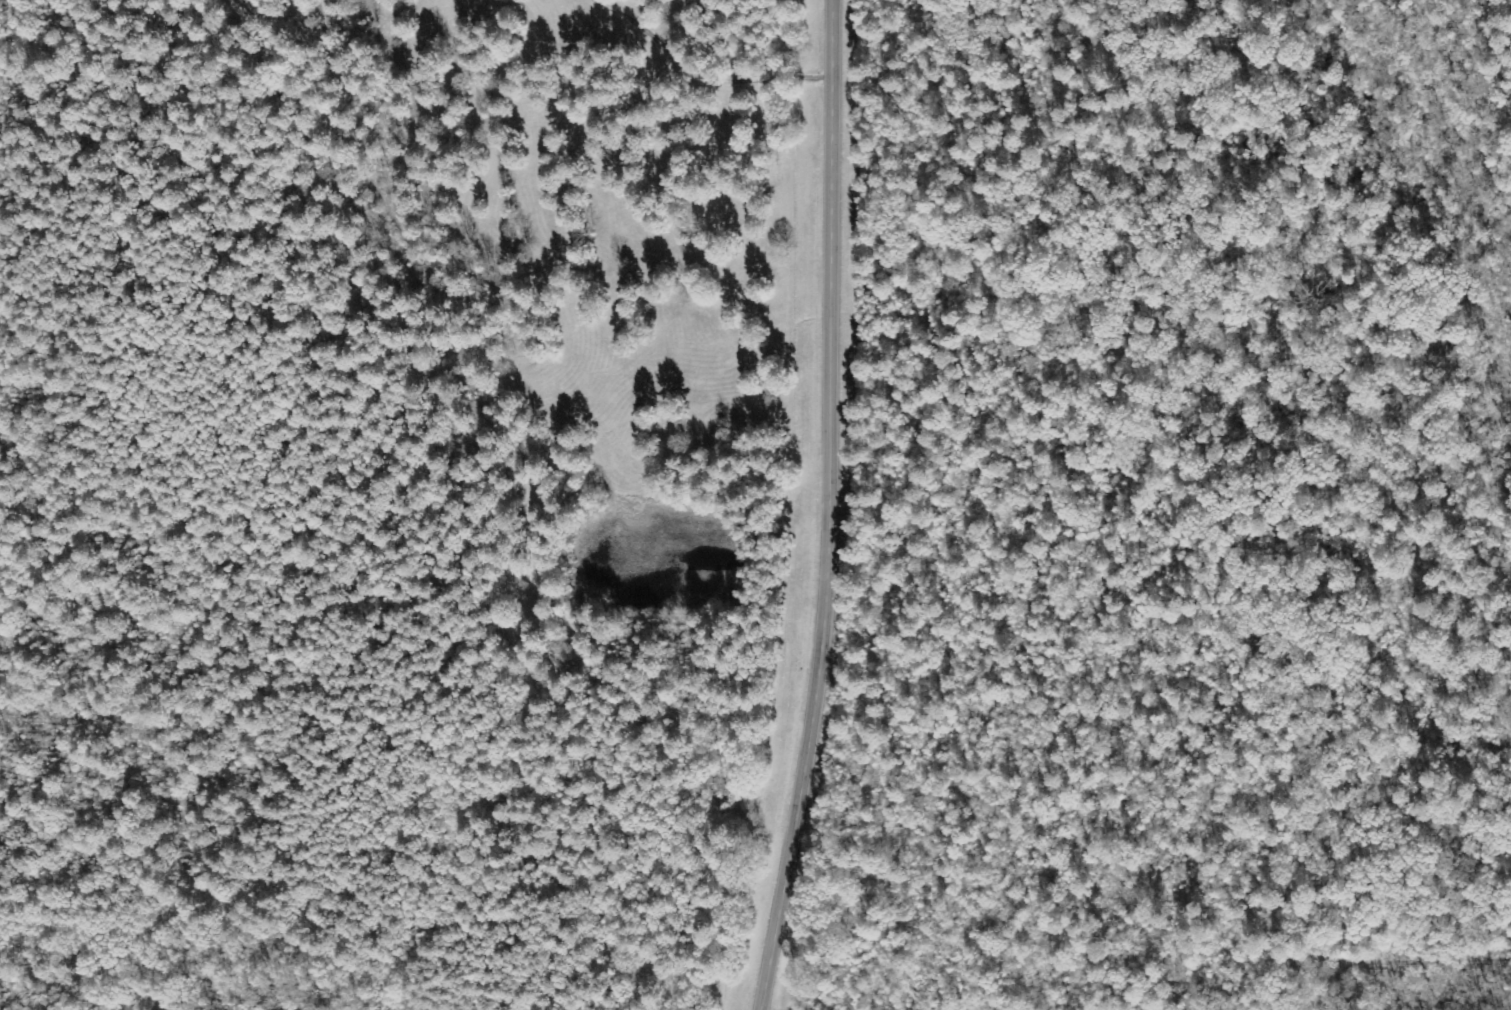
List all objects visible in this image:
road: (28, 91)
road: (16, 344)
road: (831, 507)
road: (376, 952)

